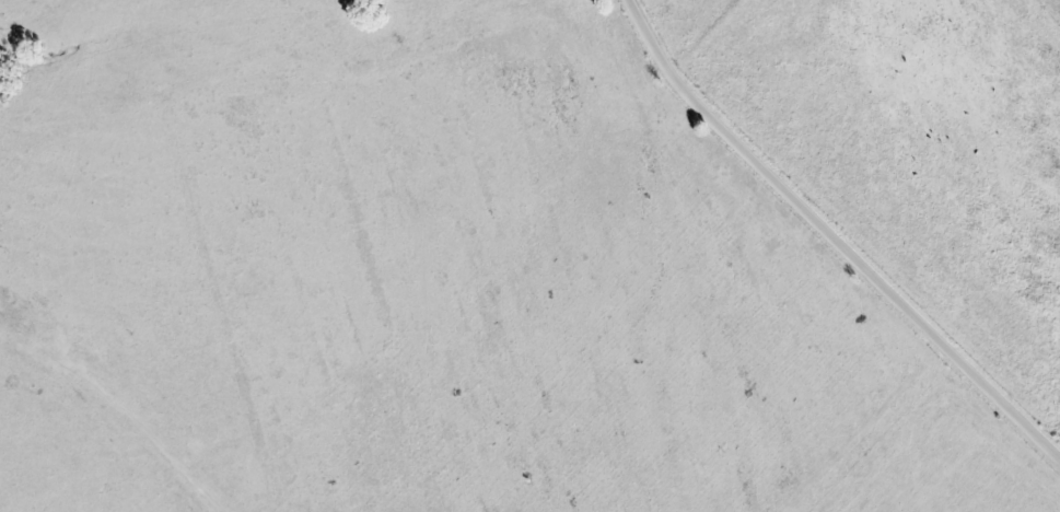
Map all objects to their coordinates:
road: (837, 235)

